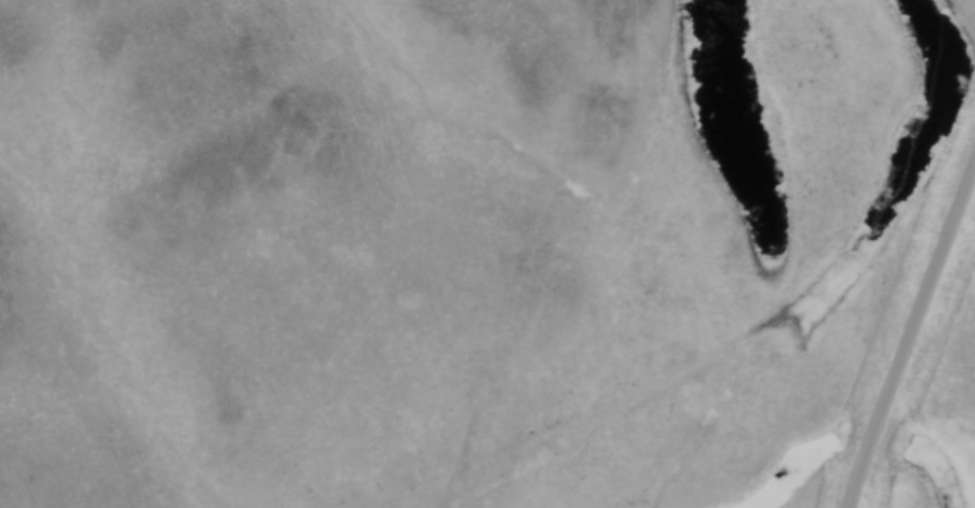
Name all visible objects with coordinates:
road: (910, 340)

